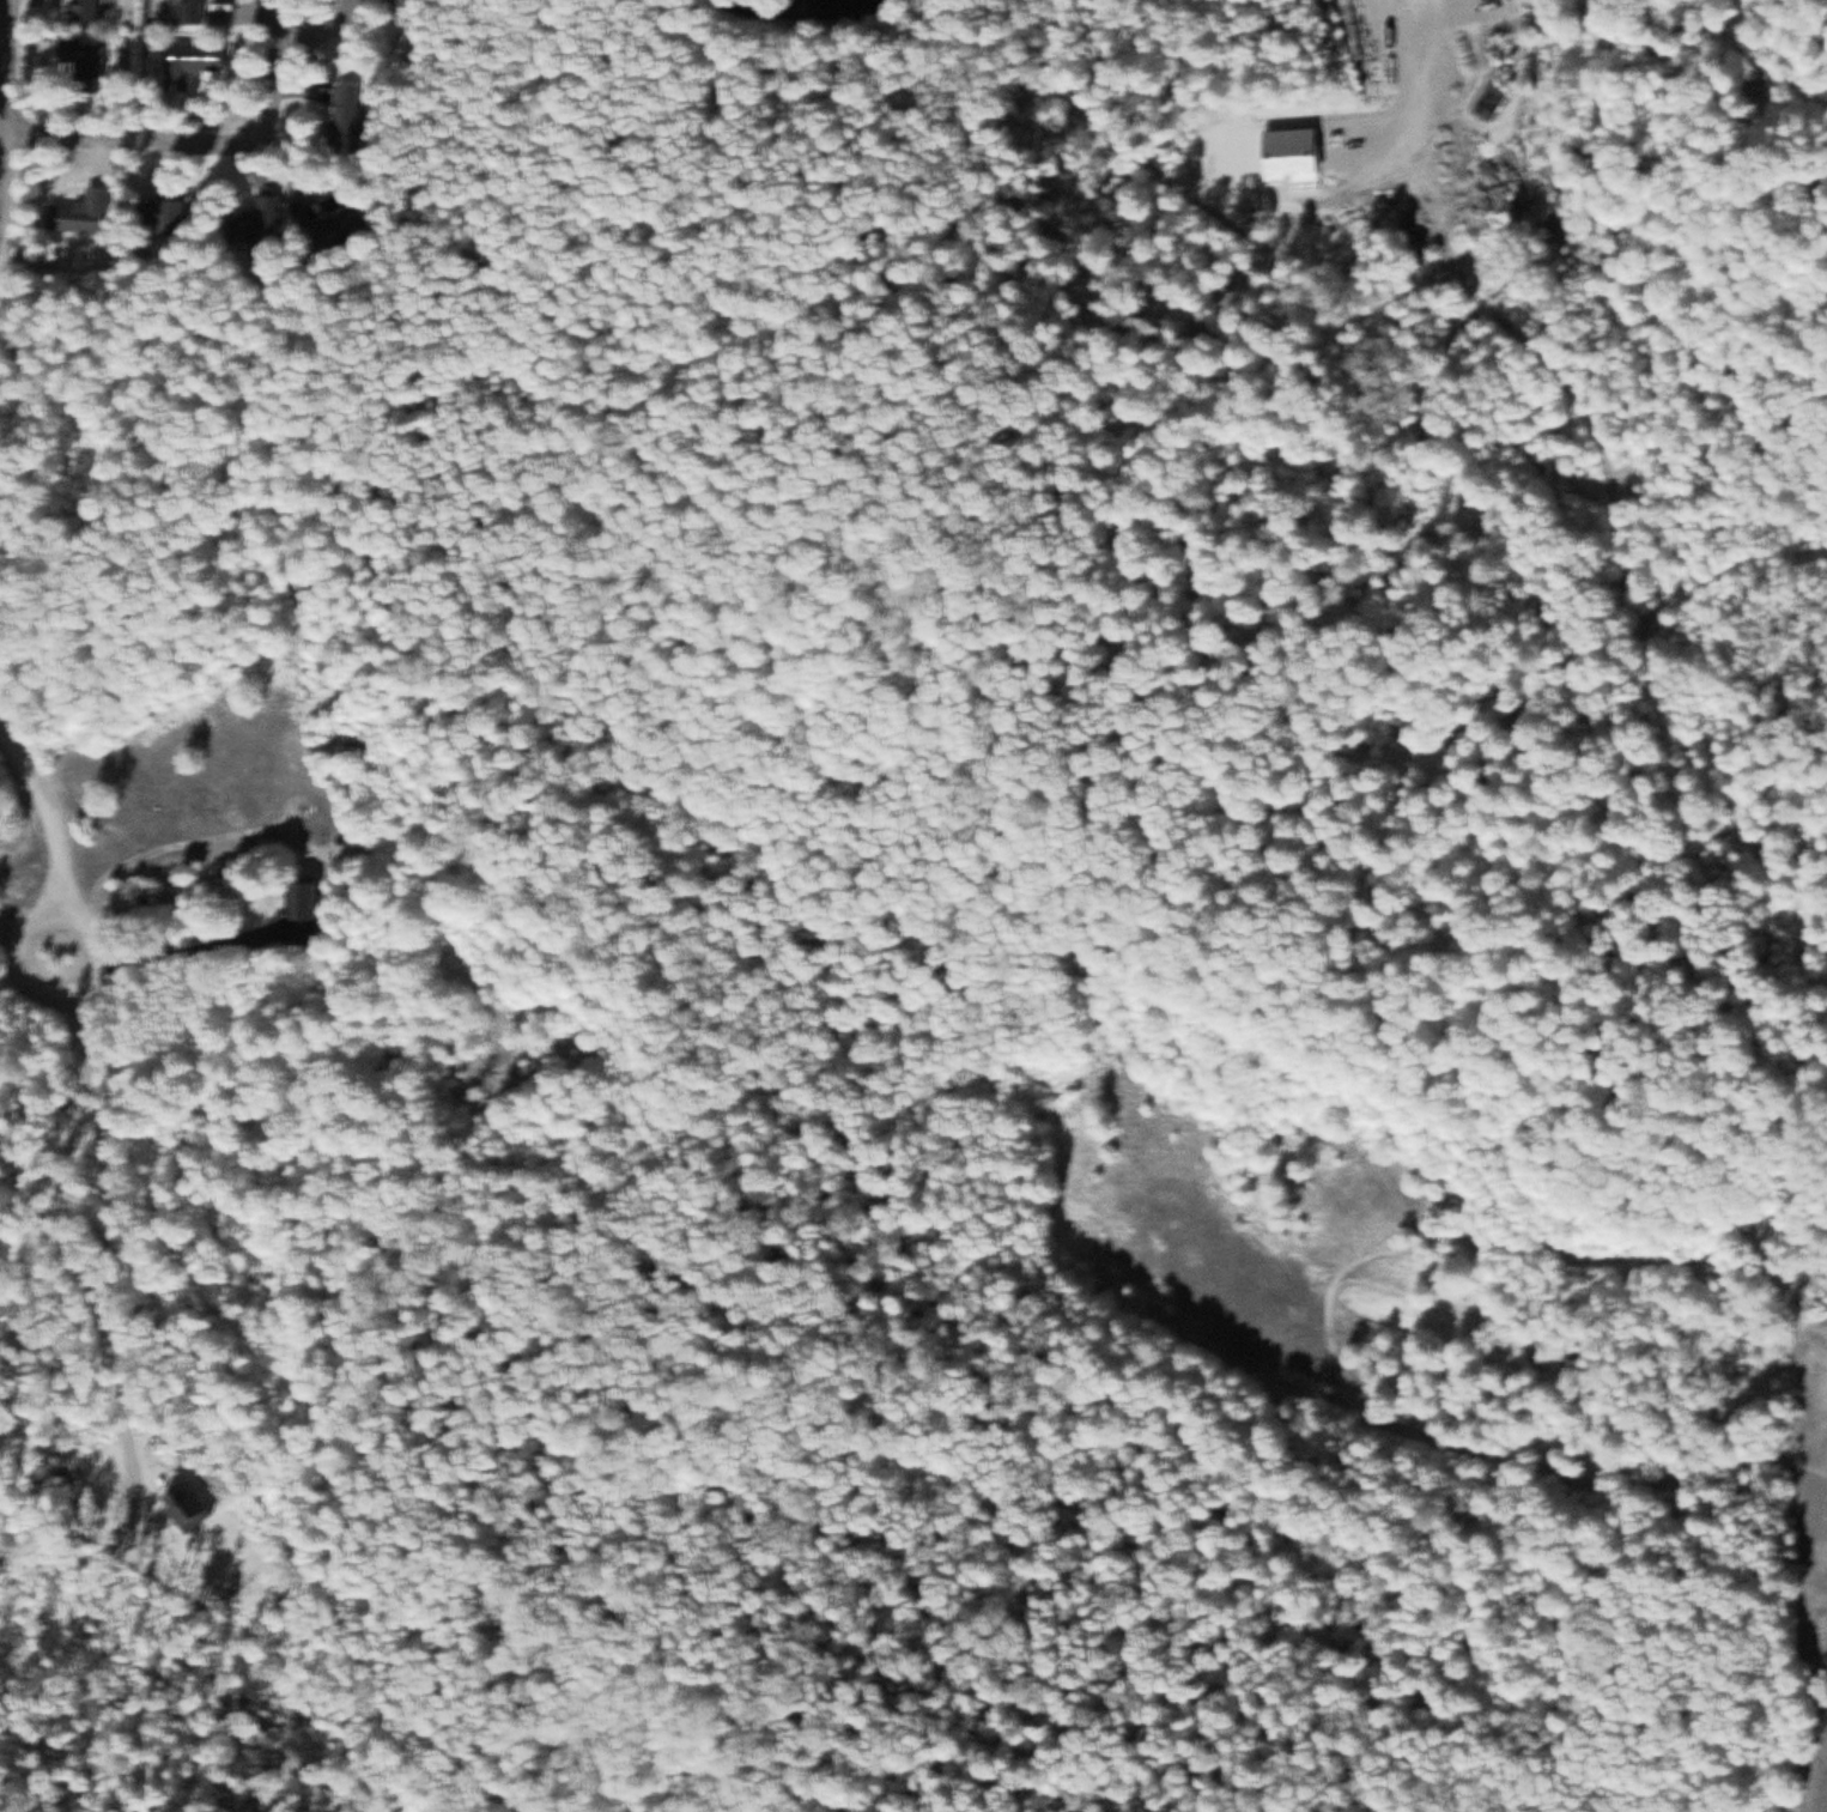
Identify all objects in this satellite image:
building: (412, 4)
building: (89, 11)
building: (196, 11)
road: (807, 12)
building: (86, 56)
building: (195, 63)
building: (347, 119)
road: (12, 131)
building: (83, 213)
building: (174, 216)
building: (347, 222)
road: (57, 830)
building: (306, 913)

